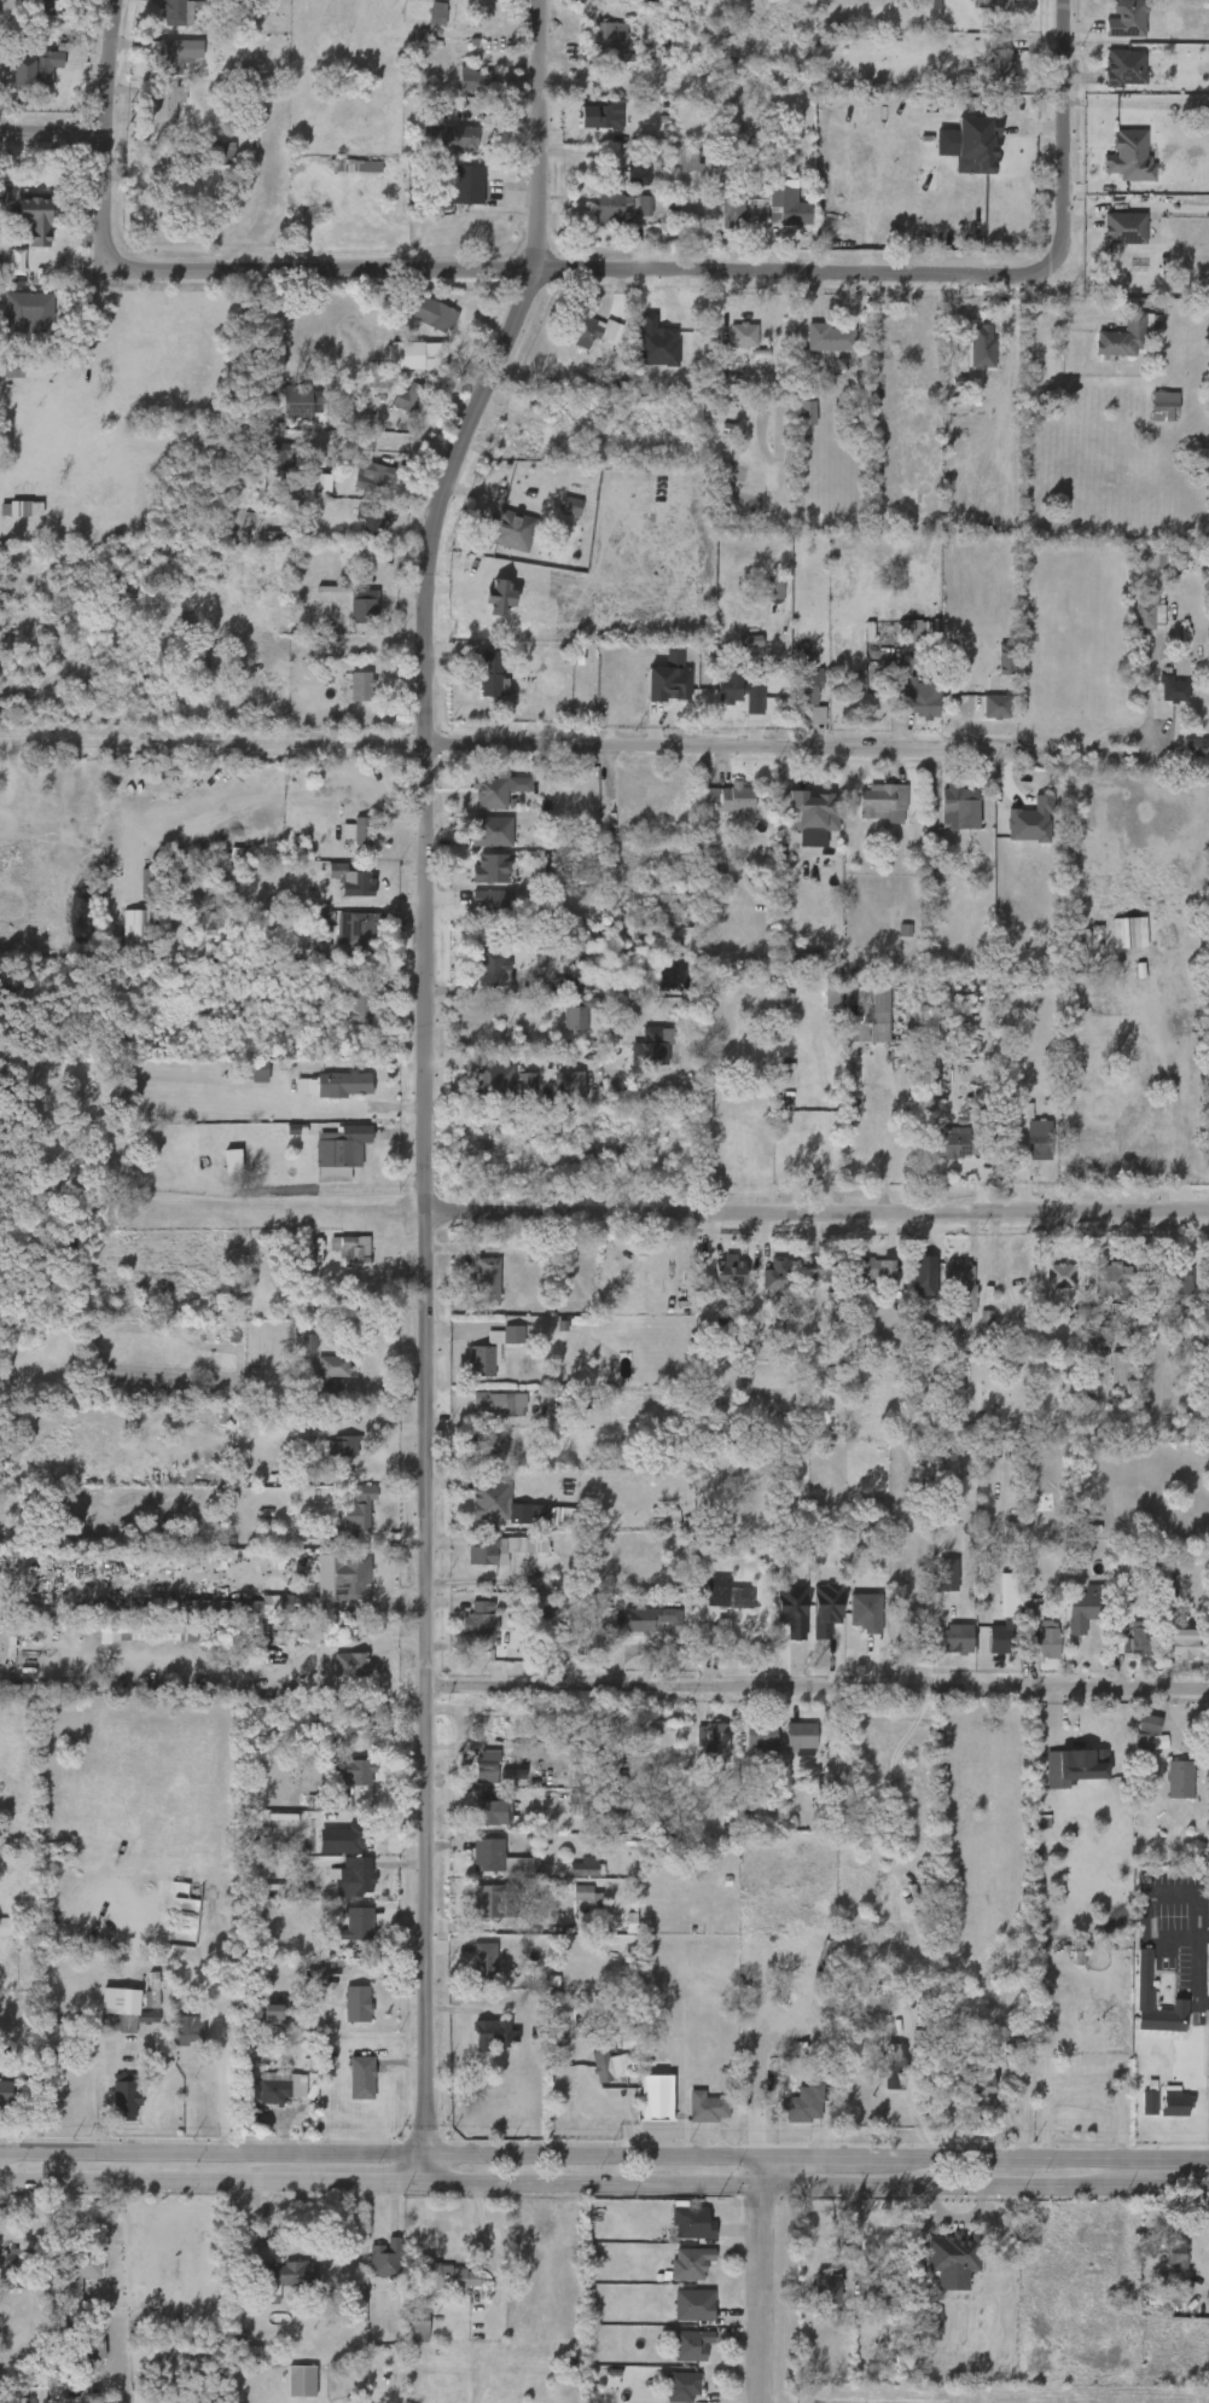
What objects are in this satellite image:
building: (999, 5)
building: (48, 6)
building: (174, 12)
building: (978, 13)
building: (157, 19)
building: (1123, 19)
building: (422, 28)
building: (1111, 34)
building: (609, 37)
building: (170, 53)
building: (594, 56)
road: (486, 64)
building: (30, 68)
road: (116, 68)
building: (1122, 69)
building: (472, 79)
building: (987, 81)
building: (1109, 82)
building: (458, 93)
building: (162, 100)
building: (150, 117)
building: (604, 117)
road: (1060, 124)
building: (585, 130)
road: (547, 135)
building: (453, 137)
road: (56, 138)
building: (440, 151)
building: (223, 153)
building: (960, 158)
building: (1127, 158)
building: (210, 167)
building: (1114, 172)
building: (670, 173)
building: (343, 180)
building: (466, 184)
building: (622, 188)
building: (415, 196)
building: (451, 199)
road: (112, 203)
building: (620, 207)
building: (777, 209)
building: (601, 221)
building: (716, 227)
building: (1121, 230)
building: (19, 231)
building: (1108, 243)
road: (595, 271)
building: (4, 275)
building: (30, 312)
building: (432, 313)
building: (1207, 325)
building: (415, 327)
building: (593, 331)
building: (742, 335)
building: (819, 337)
building: (1121, 337)
building: (980, 344)
building: (579, 346)
building: (727, 349)
building: (813, 352)
building: (1105, 353)
building: (420, 356)
building: (965, 359)
building: (400, 370)
building: (1, 382)
building: (408, 399)
building: (293, 400)
building: (1163, 406)
building: (393, 412)
building: (283, 417)
building: (1149, 419)
building: (790, 426)
road: (384, 443)
building: (277, 455)
building: (263, 470)
building: (373, 476)
building: (356, 491)
building: (301, 499)
building: (554, 521)
building: (12, 522)
building: (373, 522)
building: (511, 529)
building: (354, 534)
building: (494, 544)
building: (1157, 558)
building: (1139, 571)
building: (773, 588)
building: (365, 605)
building: (1147, 616)
building: (348, 620)
building: (1128, 631)
building: (1143, 631)
building: (748, 642)
building: (903, 645)
building: (733, 655)
building: (190, 663)
building: (989, 673)
building: (185, 675)
building: (494, 675)
building: (728, 684)
building: (361, 685)
building: (807, 687)
building: (477, 689)
building: (1170, 690)
building: (652, 693)
road: (1149, 696)
building: (344, 700)
building: (794, 700)
building: (919, 700)
building: (1156, 703)
building: (725, 706)
building: (994, 707)
building: (980, 720)
building: (801, 729)
road: (211, 745)
road: (717, 745)
road: (1123, 753)
building: (1178, 760)
building: (492, 793)
building: (734, 797)
building: (880, 802)
building: (476, 805)
building: (958, 808)
building: (715, 811)
building: (810, 815)
building: (867, 817)
building: (943, 820)
building: (1024, 825)
building: (364, 830)
building: (721, 830)
building: (494, 831)
building: (1011, 838)
building: (342, 844)
building: (476, 844)
building: (495, 867)
building: (534, 877)
building: (347, 880)
building: (475, 882)
building: (711, 887)
building: (336, 894)
building: (662, 900)
building: (493, 905)
building: (647, 911)
building: (476, 917)
building: (354, 928)
building: (121, 945)
building: (342, 946)
building: (1112, 946)
building: (670, 951)
building: (1075, 960)
building: (494, 971)
building: (473, 982)
building: (254, 998)
building: (554, 999)
building: (358, 1000)
building: (815, 1009)
building: (242, 1010)
building: (864, 1015)
building: (576, 1017)
building: (343, 1018)
building: (562, 1028)
building: (649, 1047)
building: (633, 1062)
building: (345, 1082)
building: (492, 1082)
building: (244, 1086)
building: (478, 1096)
building: (511, 1097)
building: (327, 1098)
building: (552, 1099)
road: (1158, 1105)
building: (1036, 1139)
building: (953, 1143)
building: (343, 1149)
building: (1021, 1153)
road: (861, 1155)
building: (937, 1155)
road: (1010, 1177)
road: (428, 1200)
road: (819, 1214)
building: (354, 1253)
building: (336, 1265)
building: (821, 1269)
building: (727, 1272)
building: (874, 1272)
building: (923, 1273)
building: (775, 1276)
building: (1057, 1276)
building: (489, 1281)
building: (1108, 1281)
building: (1174, 1282)
building: (802, 1283)
building: (713, 1284)
building: (860, 1285)
building: (958, 1287)
building: (761, 1288)
building: (1044, 1289)
building: (907, 1290)
building: (1095, 1294)
building: (1166, 1294)
building: (471, 1295)
building: (947, 1301)
building: (970, 1334)
building: (490, 1349)
building: (292, 1356)
building: (1117, 1365)
building: (466, 1374)
building: (333, 1375)
building: (1103, 1381)
building: (316, 1386)
building: (495, 1404)
building: (482, 1417)
building: (341, 1447)
building: (489, 1449)
building: (324, 1459)
building: (471, 1459)
building: (492, 1501)
building: (358, 1510)
building: (495, 1520)
building: (343, 1522)
building: (719, 1546)
building: (484, 1551)
building: (343, 1577)
building: (931, 1588)
building: (720, 1598)
building: (295, 1604)
building: (708, 1610)
building: (1080, 1610)
building: (646, 1619)
building: (223, 1621)
building: (481, 1624)
building: (1065, 1624)
building: (849, 1625)
building: (637, 1633)
building: (464, 1637)
building: (955, 1639)
building: (999, 1639)
building: (1042, 1641)
building: (1133, 1641)
building: (1180, 1643)
building: (132, 1644)
building: (986, 1650)
building: (941, 1652)
building: (1121, 1652)
building: (1029, 1653)
building: (1166, 1656)
building: (353, 1662)
building: (335, 1678)
road: (818, 1689)
building: (355, 1719)
building: (1149, 1732)
building: (758, 1734)
building: (1133, 1736)
building: (332, 1737)
building: (714, 1737)
building: (800, 1737)
building: (785, 1752)
building: (744, 1753)
building: (701, 1754)
building: (1134, 1754)
building: (1073, 1765)
building: (489, 1766)
building: (473, 1770)
building: (353, 1771)
building: (1179, 1778)
building: (1057, 1780)
building: (336, 1784)
building: (470, 1789)
building: (1163, 1792)
building: (326, 1803)
building: (582, 1803)
building: (496, 1807)
building: (611, 1822)
building: (476, 1824)
building: (348, 1836)
building: (341, 1851)
building: (495, 1856)
building: (484, 1871)
building: (359, 1874)
building: (568, 1880)
building: (339, 1890)
building: (589, 1896)
building: (492, 1899)
building: (571, 1908)
building: (470, 1914)
building: (360, 1922)
building: (8, 1923)
building: (343, 1935)
building: (0, 1939)
building: (487, 1960)
building: (1143, 1972)
building: (469, 1973)
building: (301, 1986)
building: (1128, 1986)
building: (153, 1991)
building: (139, 2002)
building: (359, 2003)
building: (273, 2012)
building: (104, 2014)
building: (341, 2016)
building: (126, 2020)
building: (257, 2024)
building: (187, 2030)
building: (493, 2033)
building: (107, 2035)
building: (172, 2042)
building: (476, 2047)
building: (610, 2066)
building: (891, 2073)
building: (362, 2074)
building: (593, 2078)
building: (878, 2079)
building: (981, 2080)
building: (345, 2090)
building: (274, 2093)
building: (13, 2094)
building: (655, 2095)
building: (966, 2095)
building: (126, 2097)
building: (803, 2102)
building: (1147, 2102)
building: (1175, 2102)
building: (707, 2106)
building: (109, 2109)
building: (639, 2109)
building: (1133, 2115)
building: (1158, 2117)
building: (691, 2120)
road: (215, 2153)
road: (819, 2158)
road: (431, 2169)
road: (215, 2182)
road: (819, 2186)
building: (877, 2221)
building: (693, 2223)
road: (110, 2235)
building: (675, 2235)
building: (813, 2247)
building: (1175, 2252)
building: (957, 2254)
building: (383, 2257)
building: (692, 2263)
building: (11, 2264)
building: (1162, 2266)
building: (370, 2271)
building: (936, 2273)
building: (674, 2275)
building: (286, 2276)
building: (446, 2276)
building: (77, 2277)
road: (757, 2280)
building: (825, 2287)
building: (436, 2289)
building: (897, 2291)
building: (62, 2292)
building: (809, 2302)
building: (694, 2305)
building: (678, 2317)
building: (417, 2324)
building: (930, 2324)
building: (693, 2346)
building: (675, 2357)
building: (79, 2362)
building: (303, 2382)
building: (684, 2387)
building: (285, 2390)
building: (665, 2393)
building: (21, 2401)

